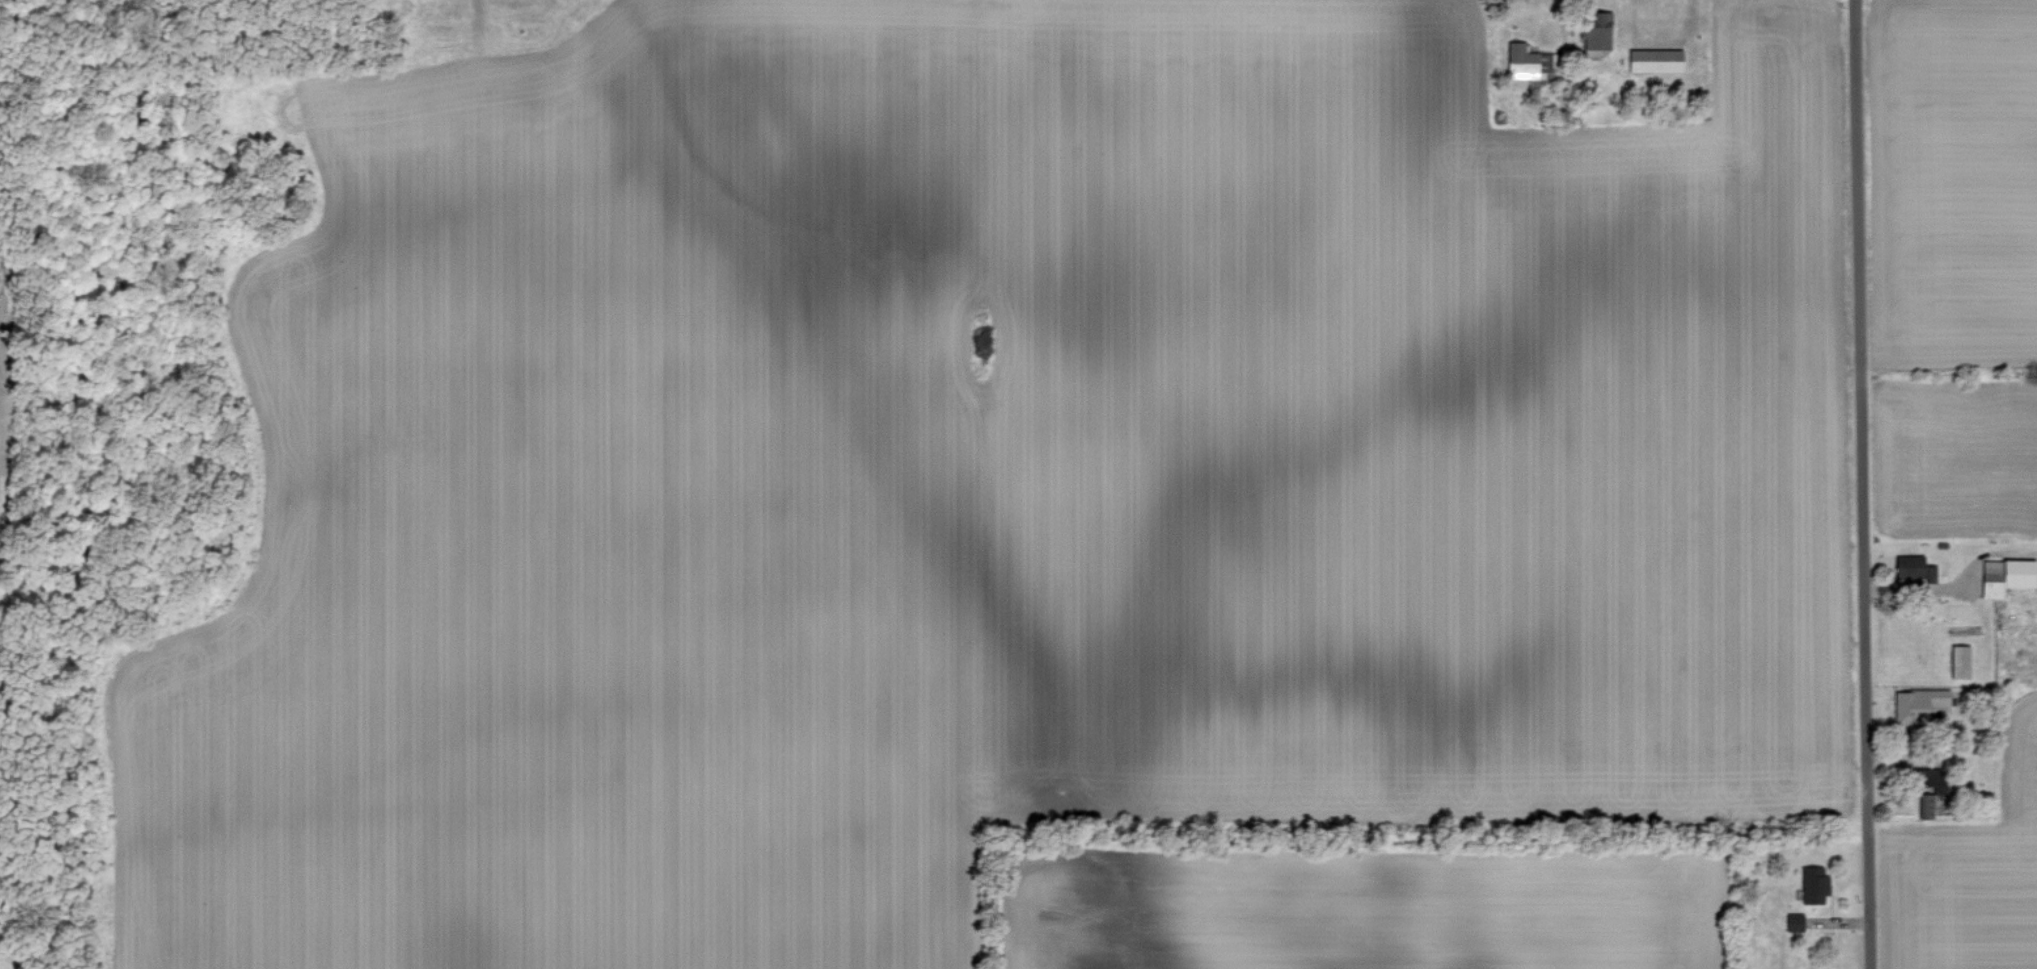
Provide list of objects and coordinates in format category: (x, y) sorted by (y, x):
building: (1598, 33)
building: (1656, 63)
road: (1860, 484)
building: (1909, 569)
building: (2007, 579)
building: (1961, 663)
building: (1919, 705)
building: (1924, 779)
building: (1928, 809)
building: (1815, 887)
building: (1795, 925)

